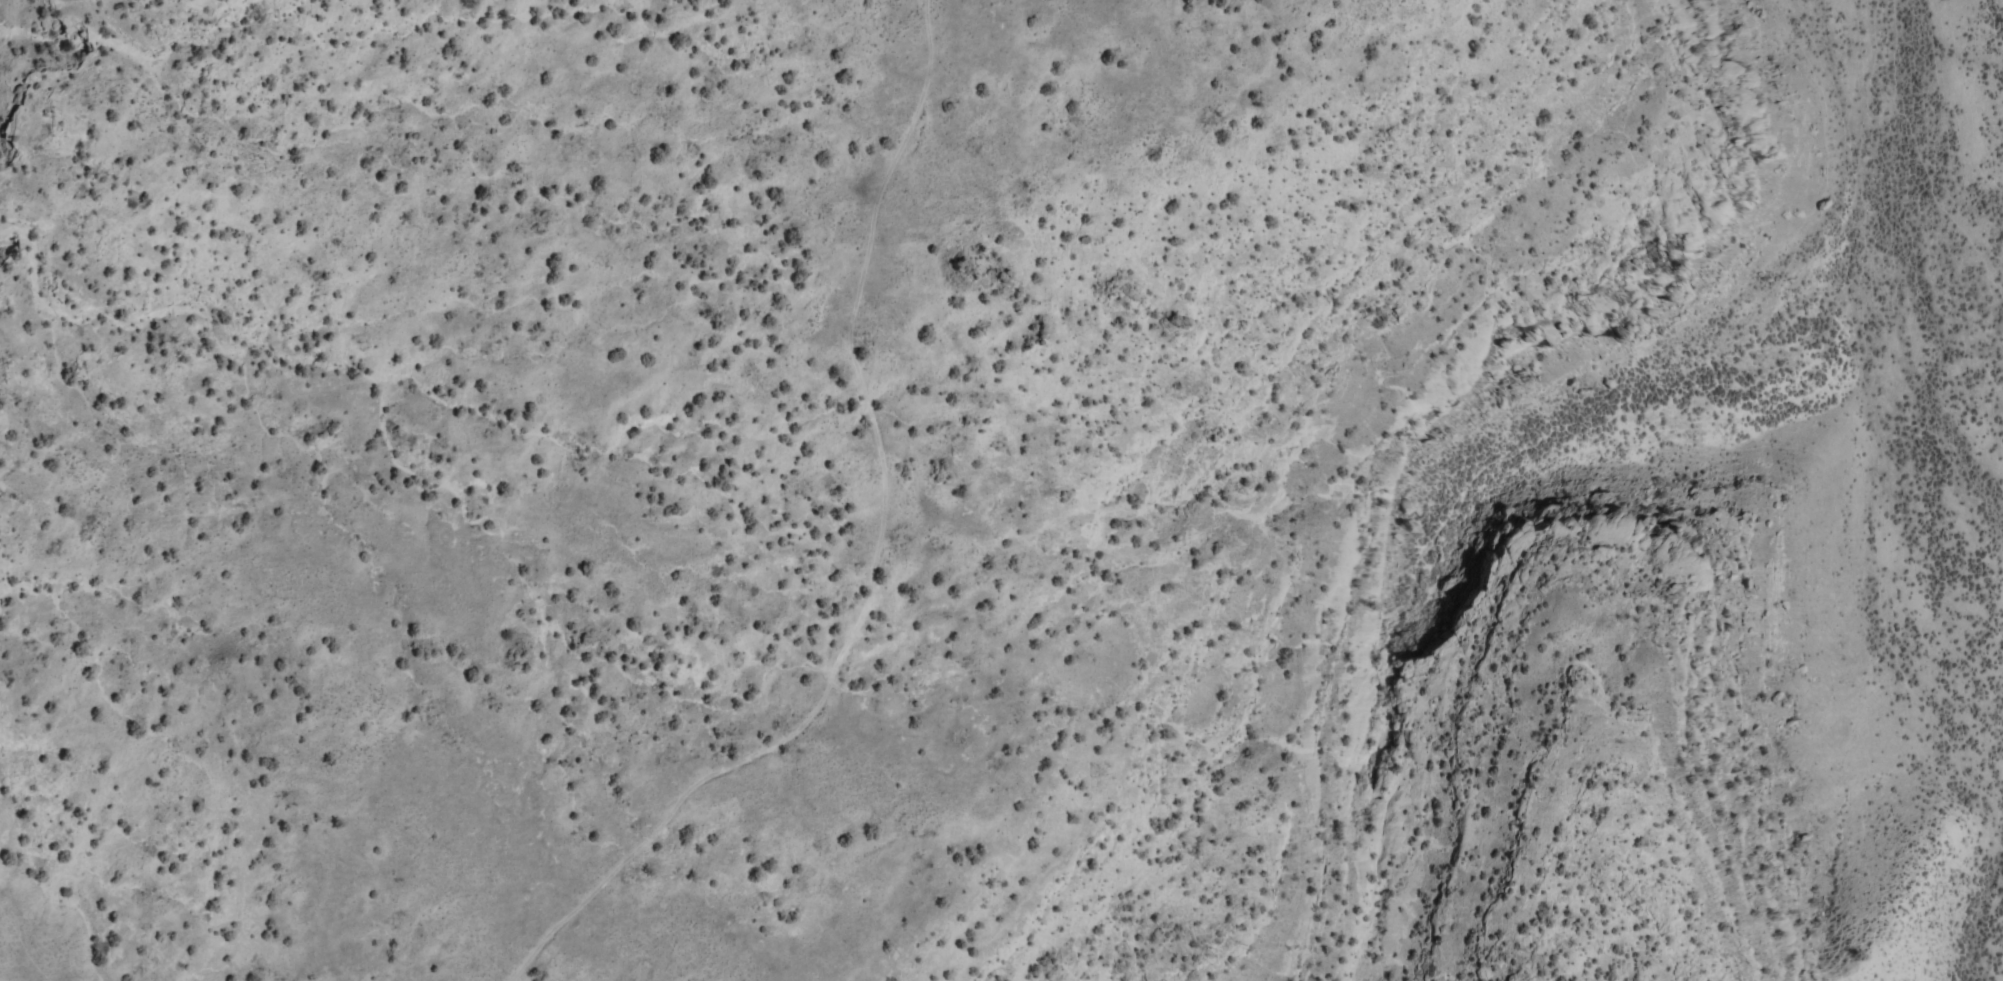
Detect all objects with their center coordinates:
river: (1922, 264)
river: (1987, 938)

